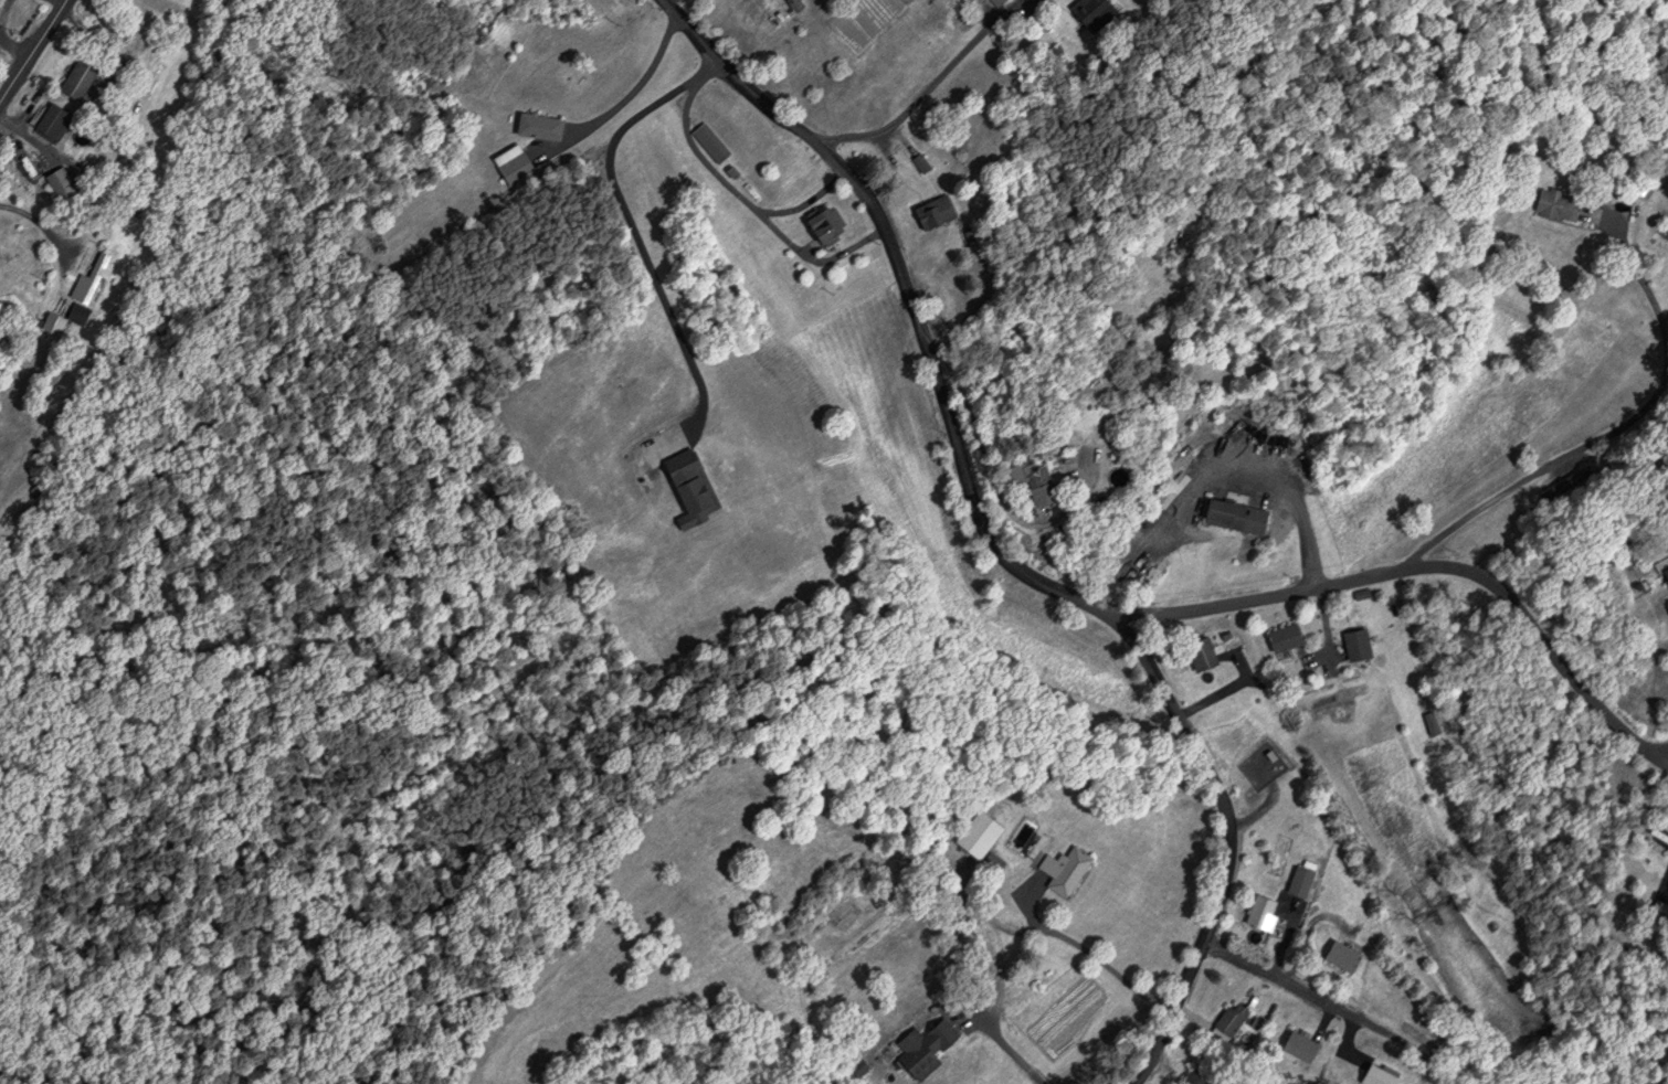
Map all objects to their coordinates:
building: (792, 4)
building: (1091, 13)
road: (14, 45)
road: (32, 53)
building: (84, 76)
road: (638, 83)
road: (927, 86)
building: (56, 119)
building: (542, 125)
building: (712, 141)
building: (62, 184)
building: (1552, 204)
road: (749, 205)
road: (802, 206)
building: (931, 212)
building: (820, 224)
road: (636, 242)
road: (1637, 272)
building: (94, 278)
building: (83, 313)
building: (55, 321)
road: (1533, 475)
building: (1027, 480)
building: (695, 482)
building: (1161, 497)
building: (1226, 514)
road: (996, 550)
road: (1432, 564)
building: (1664, 572)
building: (1279, 636)
building: (1352, 642)
building: (1196, 652)
road: (1667, 761)
road: (1667, 763)
building: (974, 833)
building: (1060, 868)
building: (1295, 880)
building: (1666, 889)
building: (835, 911)
building: (1257, 912)
building: (1338, 955)
road: (1331, 1006)
building: (1225, 1028)
building: (920, 1046)
building: (1297, 1046)
building: (1373, 1075)
building: (1197, 1076)

